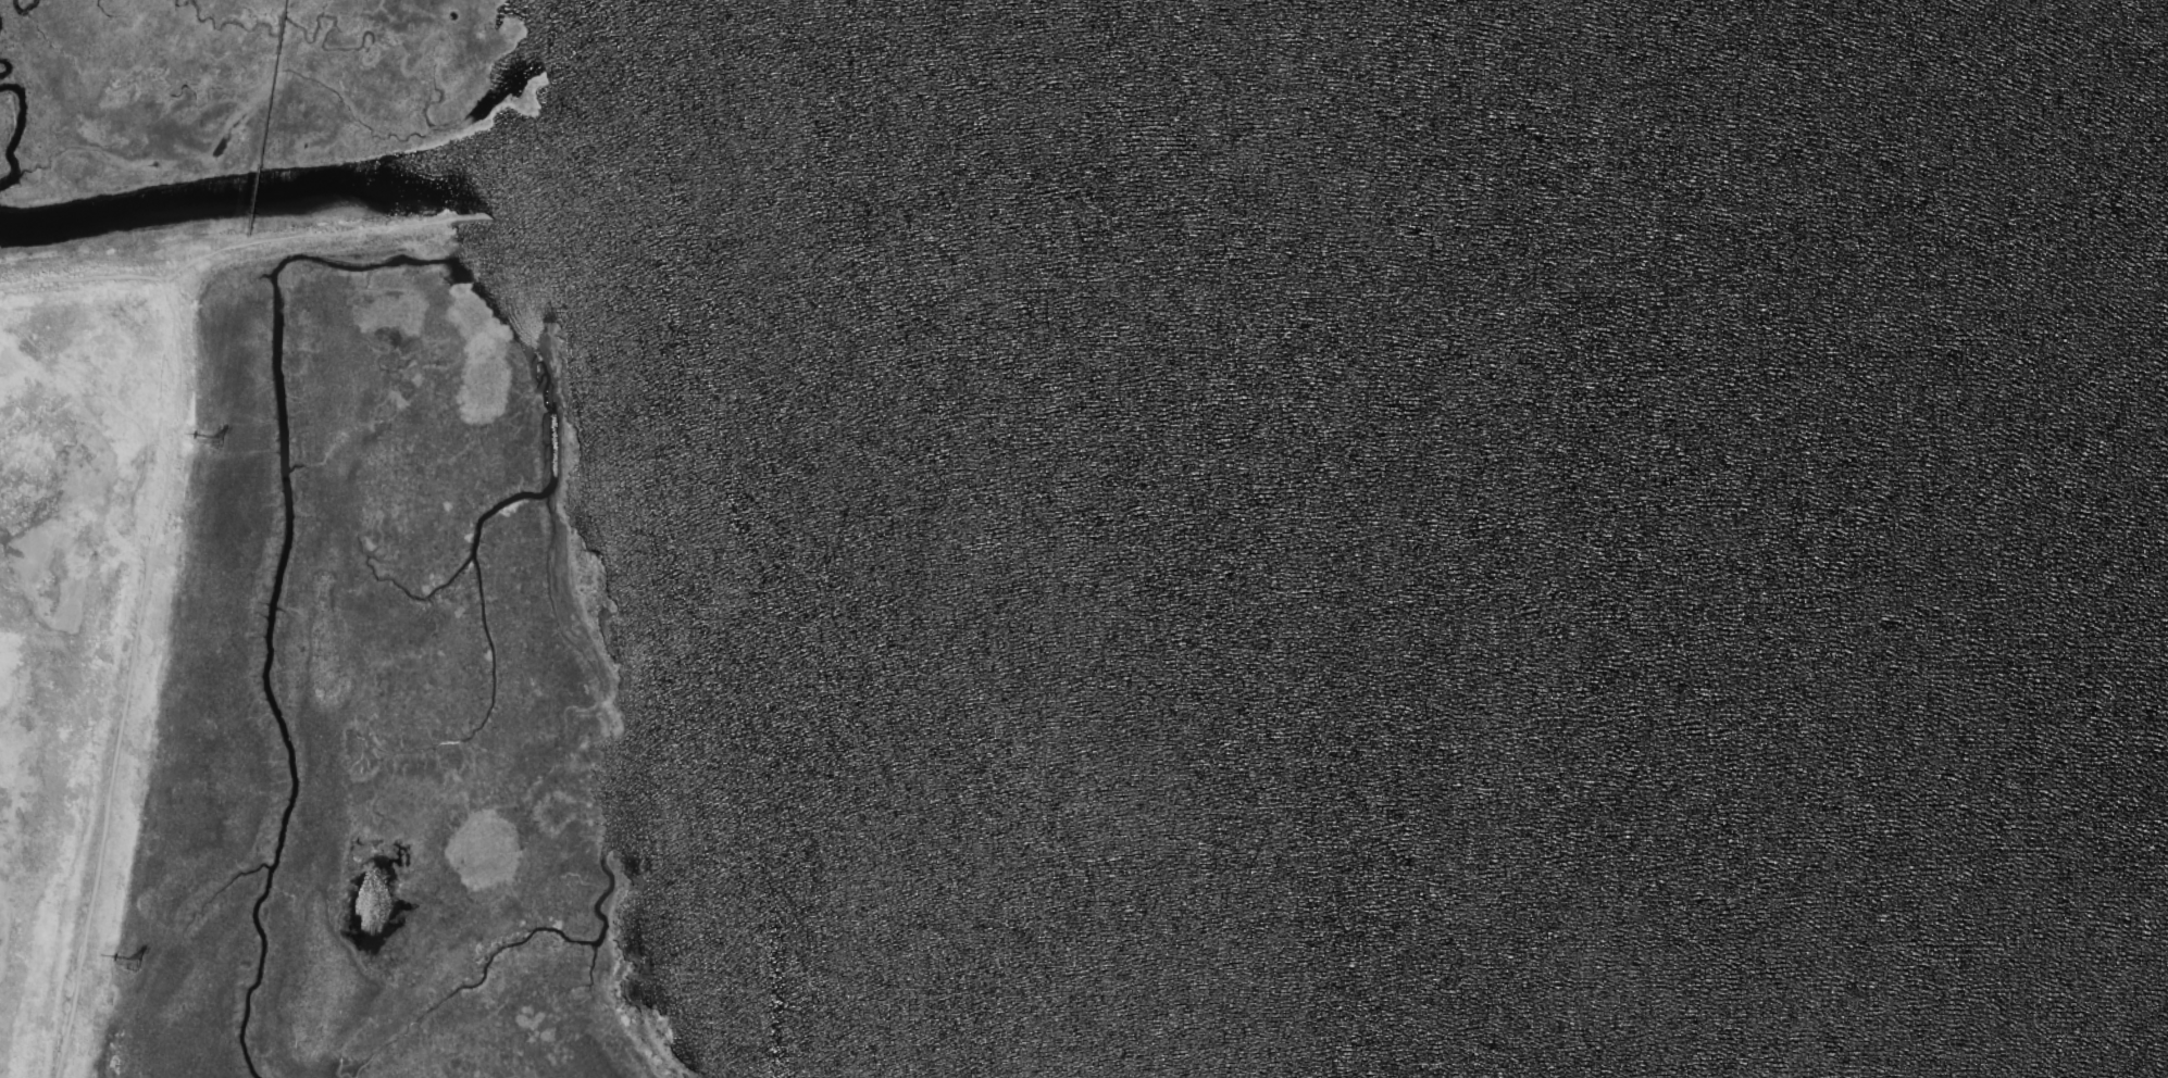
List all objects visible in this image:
road: (245, 248)
road: (123, 414)
power tower: (215, 443)
road: (128, 678)
power tower: (130, 965)

